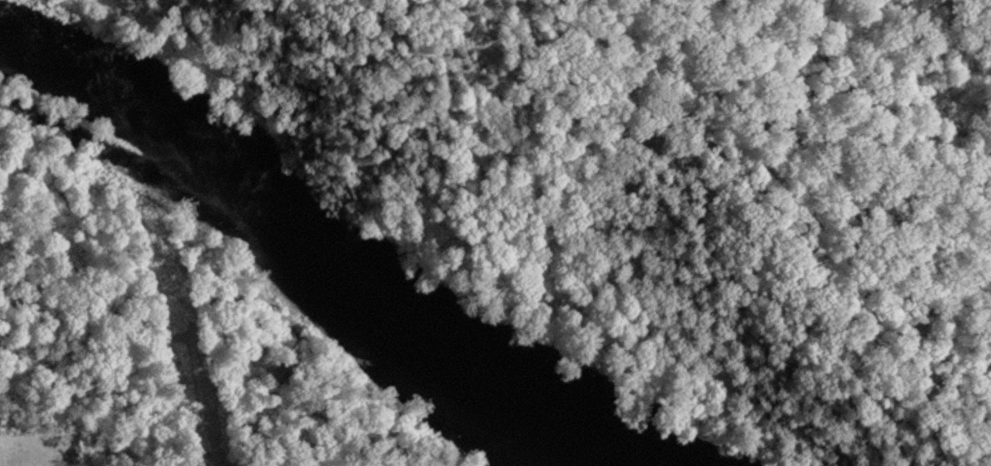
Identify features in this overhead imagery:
river: (323, 245)
crop: (29, 458)

